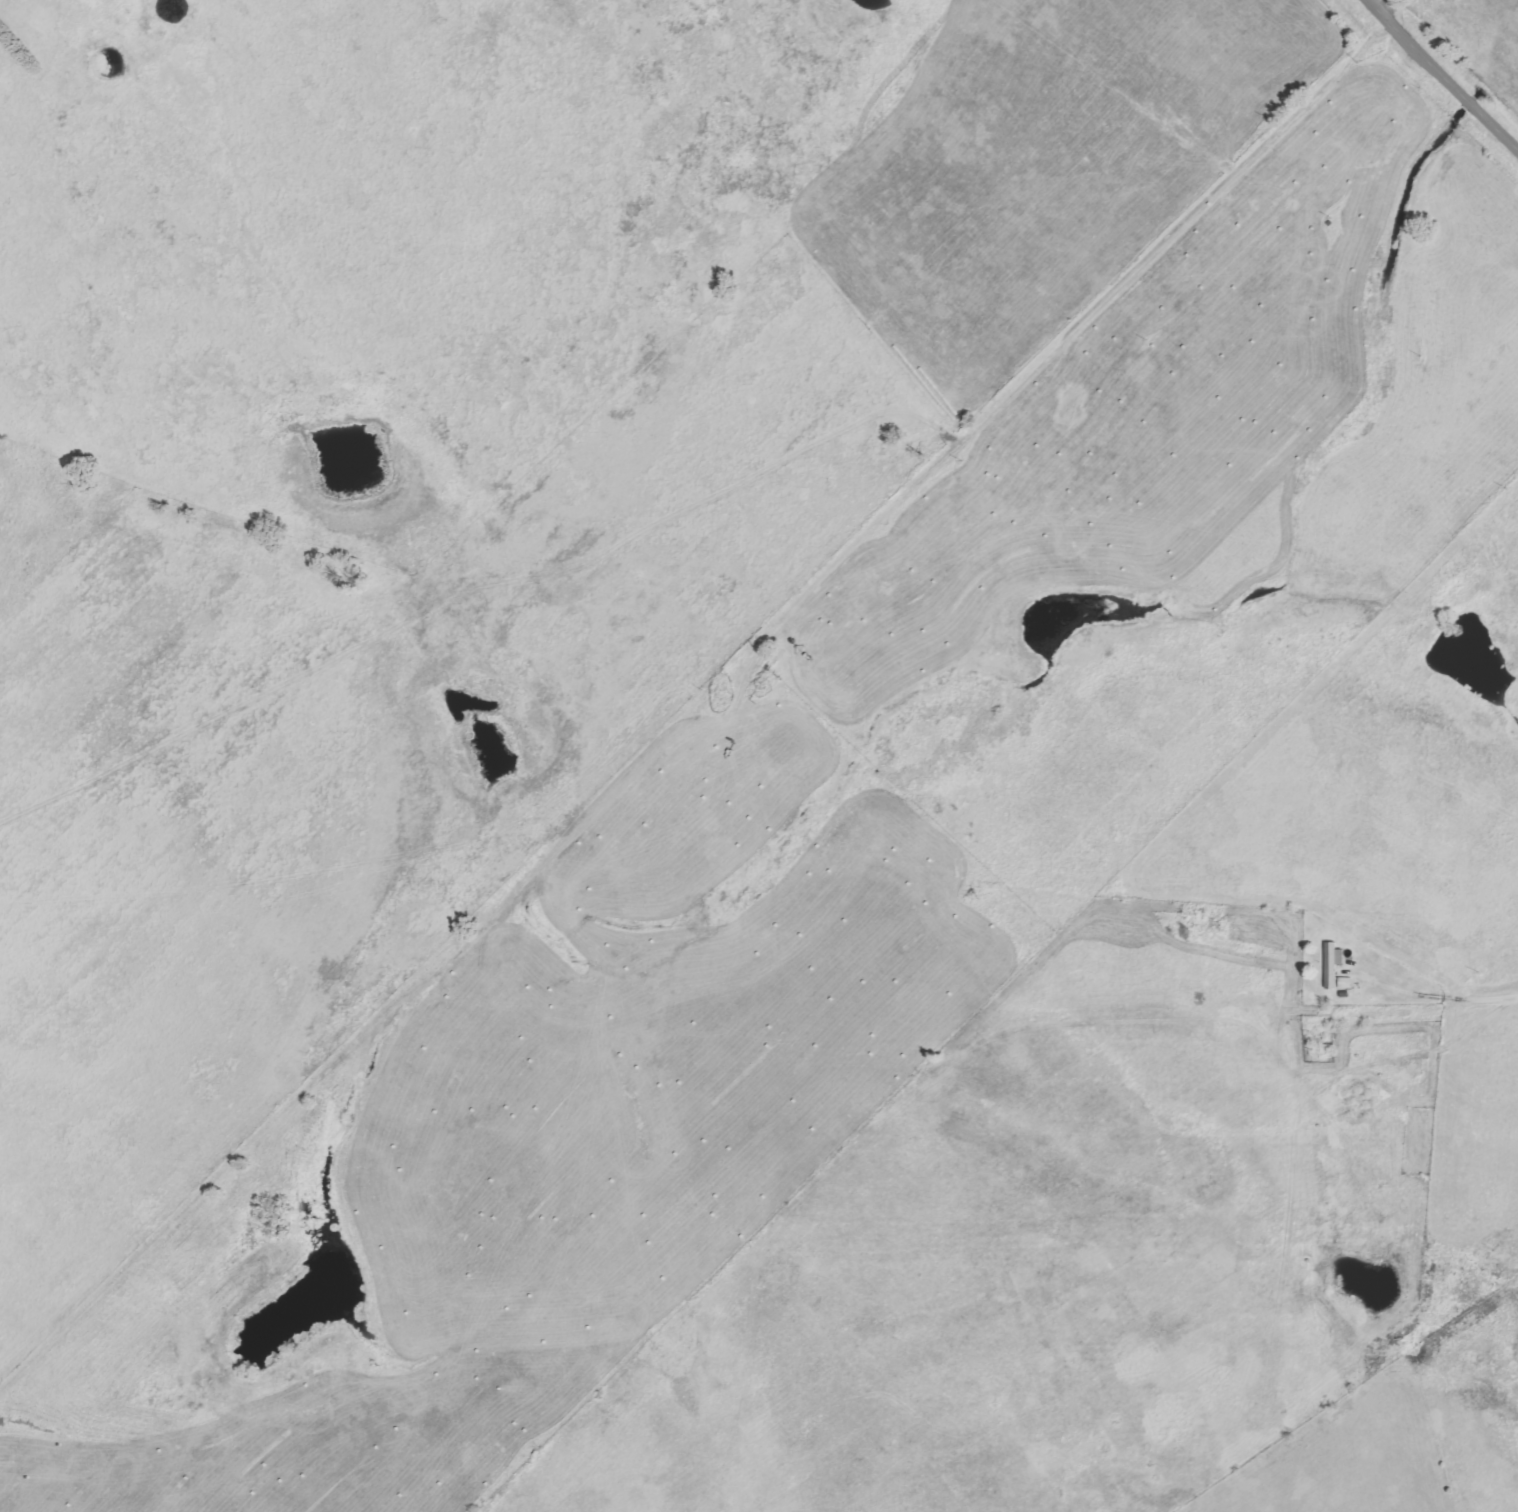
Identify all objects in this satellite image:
road: (1443, 75)
building: (1331, 963)

